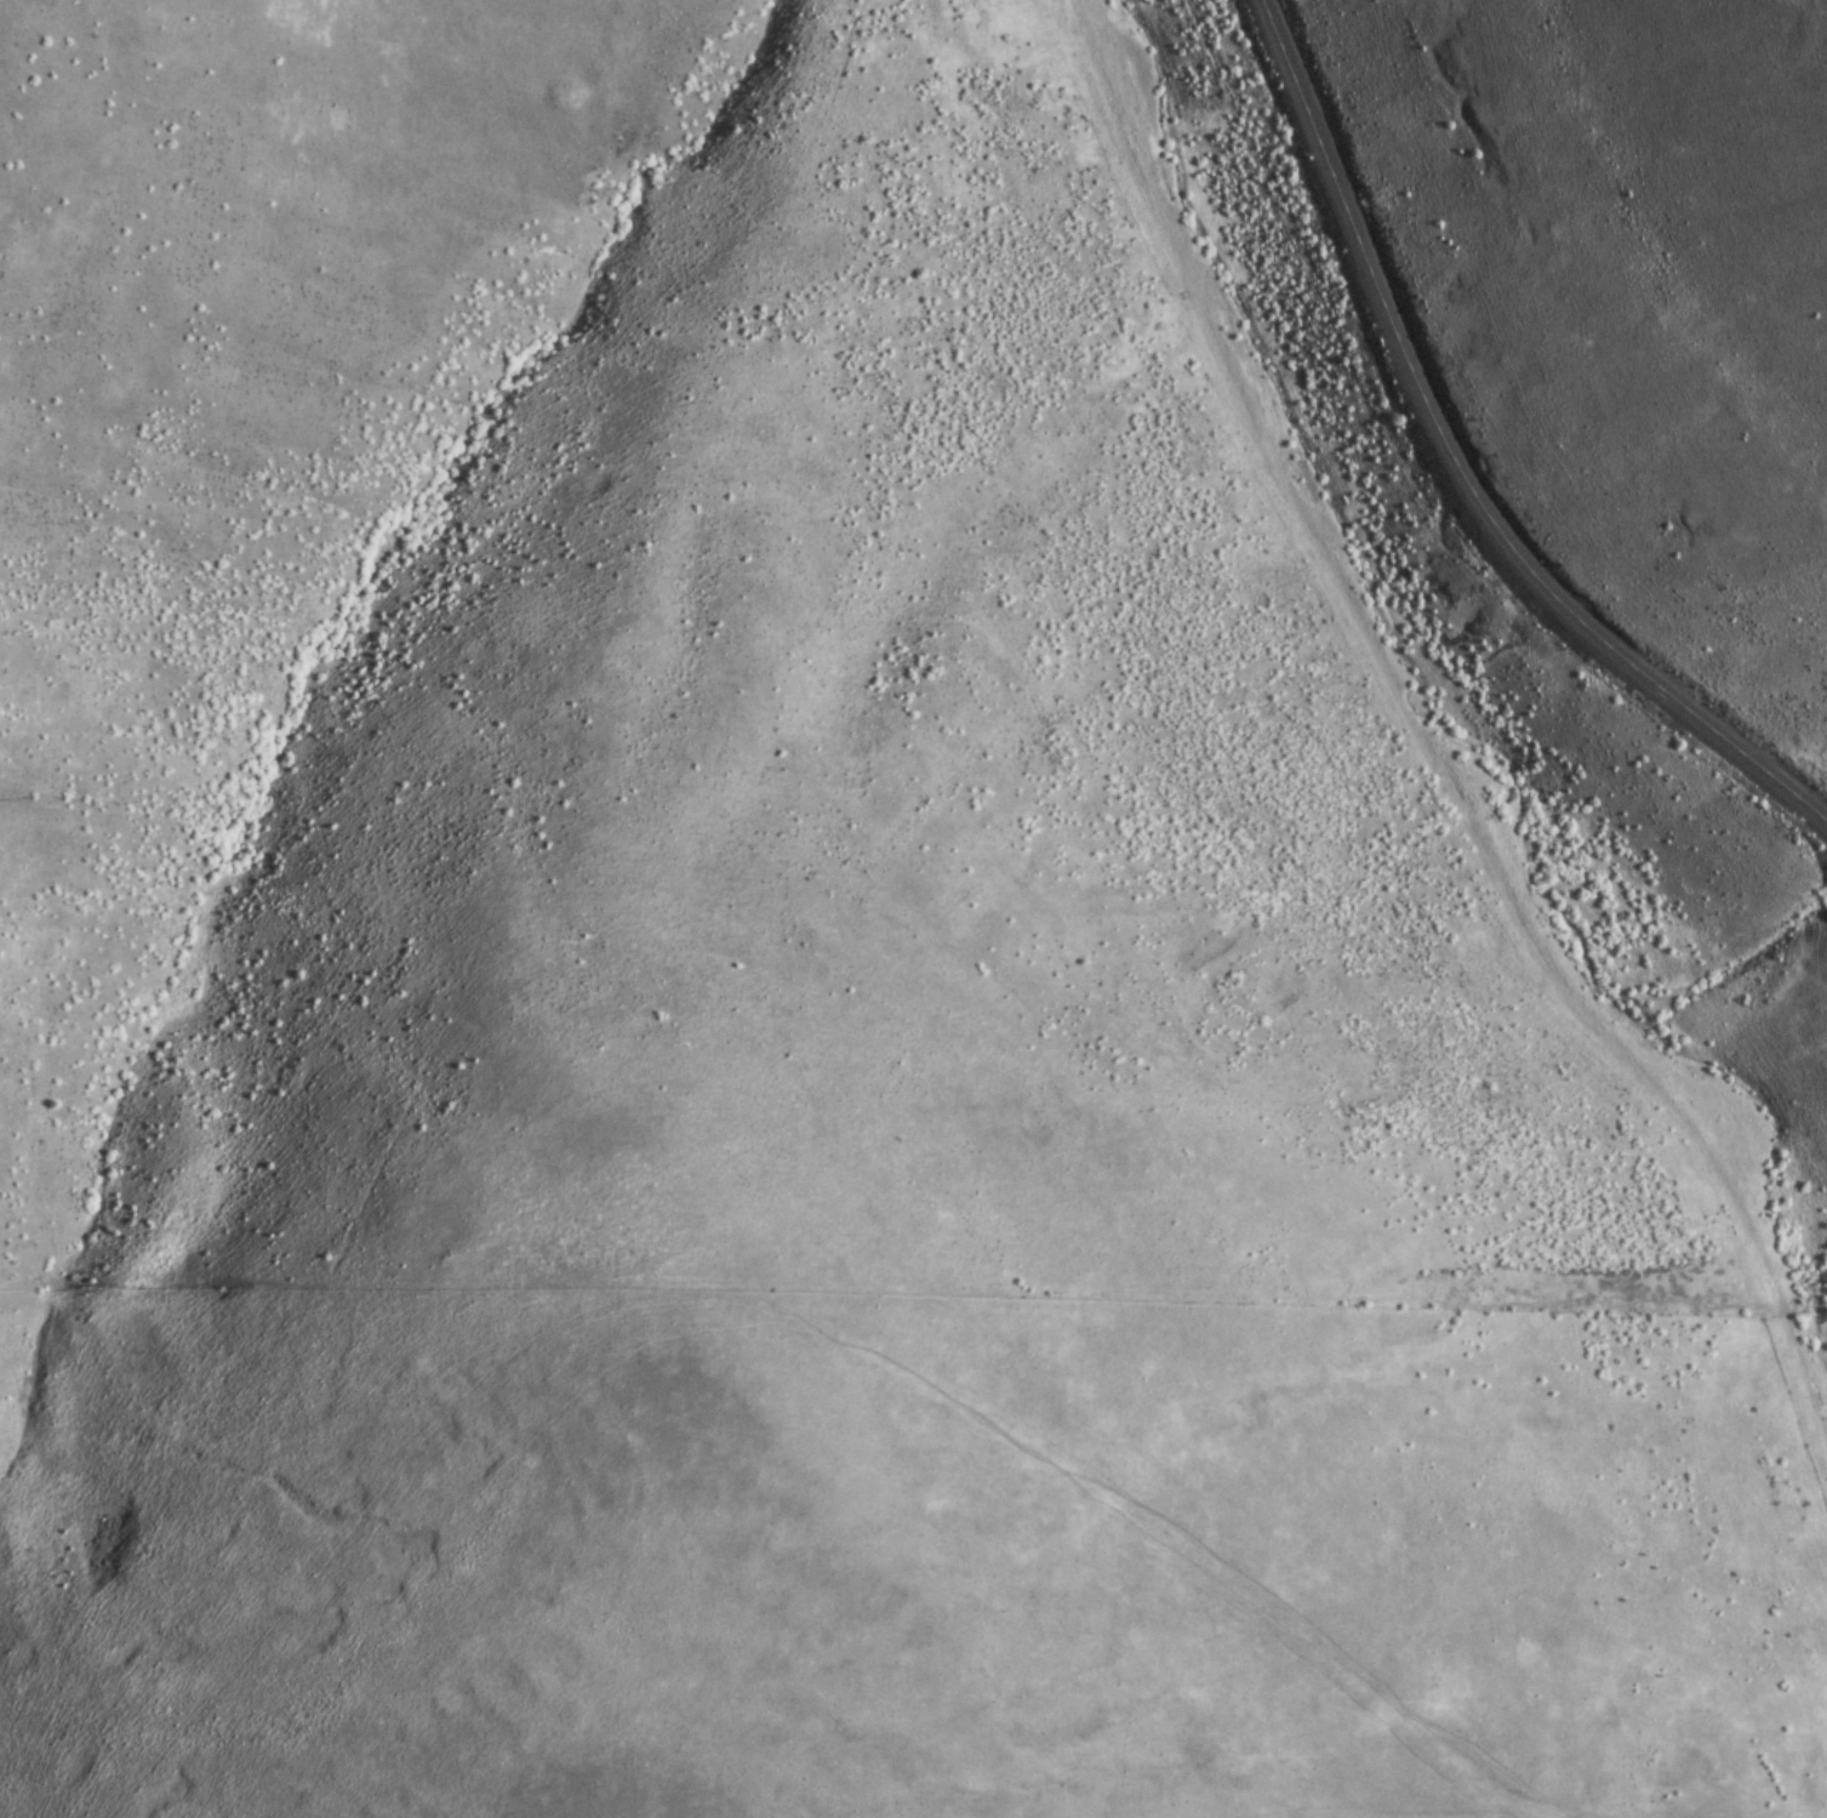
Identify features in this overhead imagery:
road: (1462, 472)

